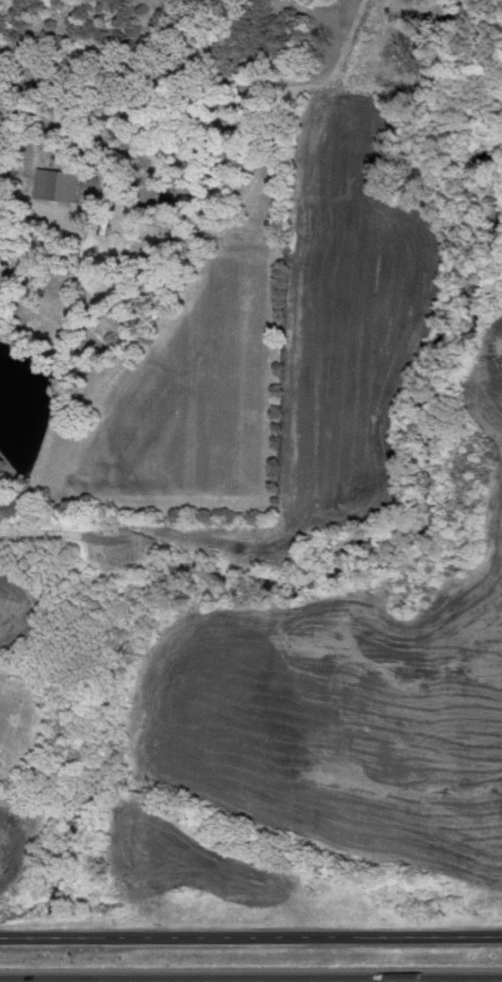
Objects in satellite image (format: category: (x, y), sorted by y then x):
road: (4, 186)
building: (68, 188)
building: (1, 261)
road: (250, 936)
road: (387, 981)

